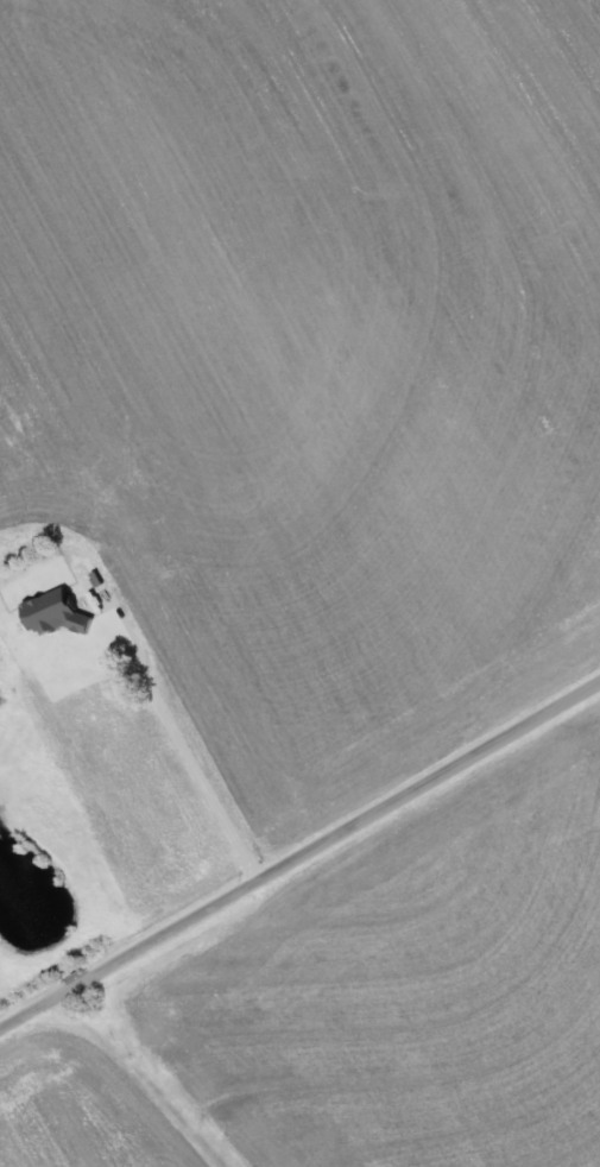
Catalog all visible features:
crop: (311, 362)
road: (299, 851)
crop: (356, 999)

